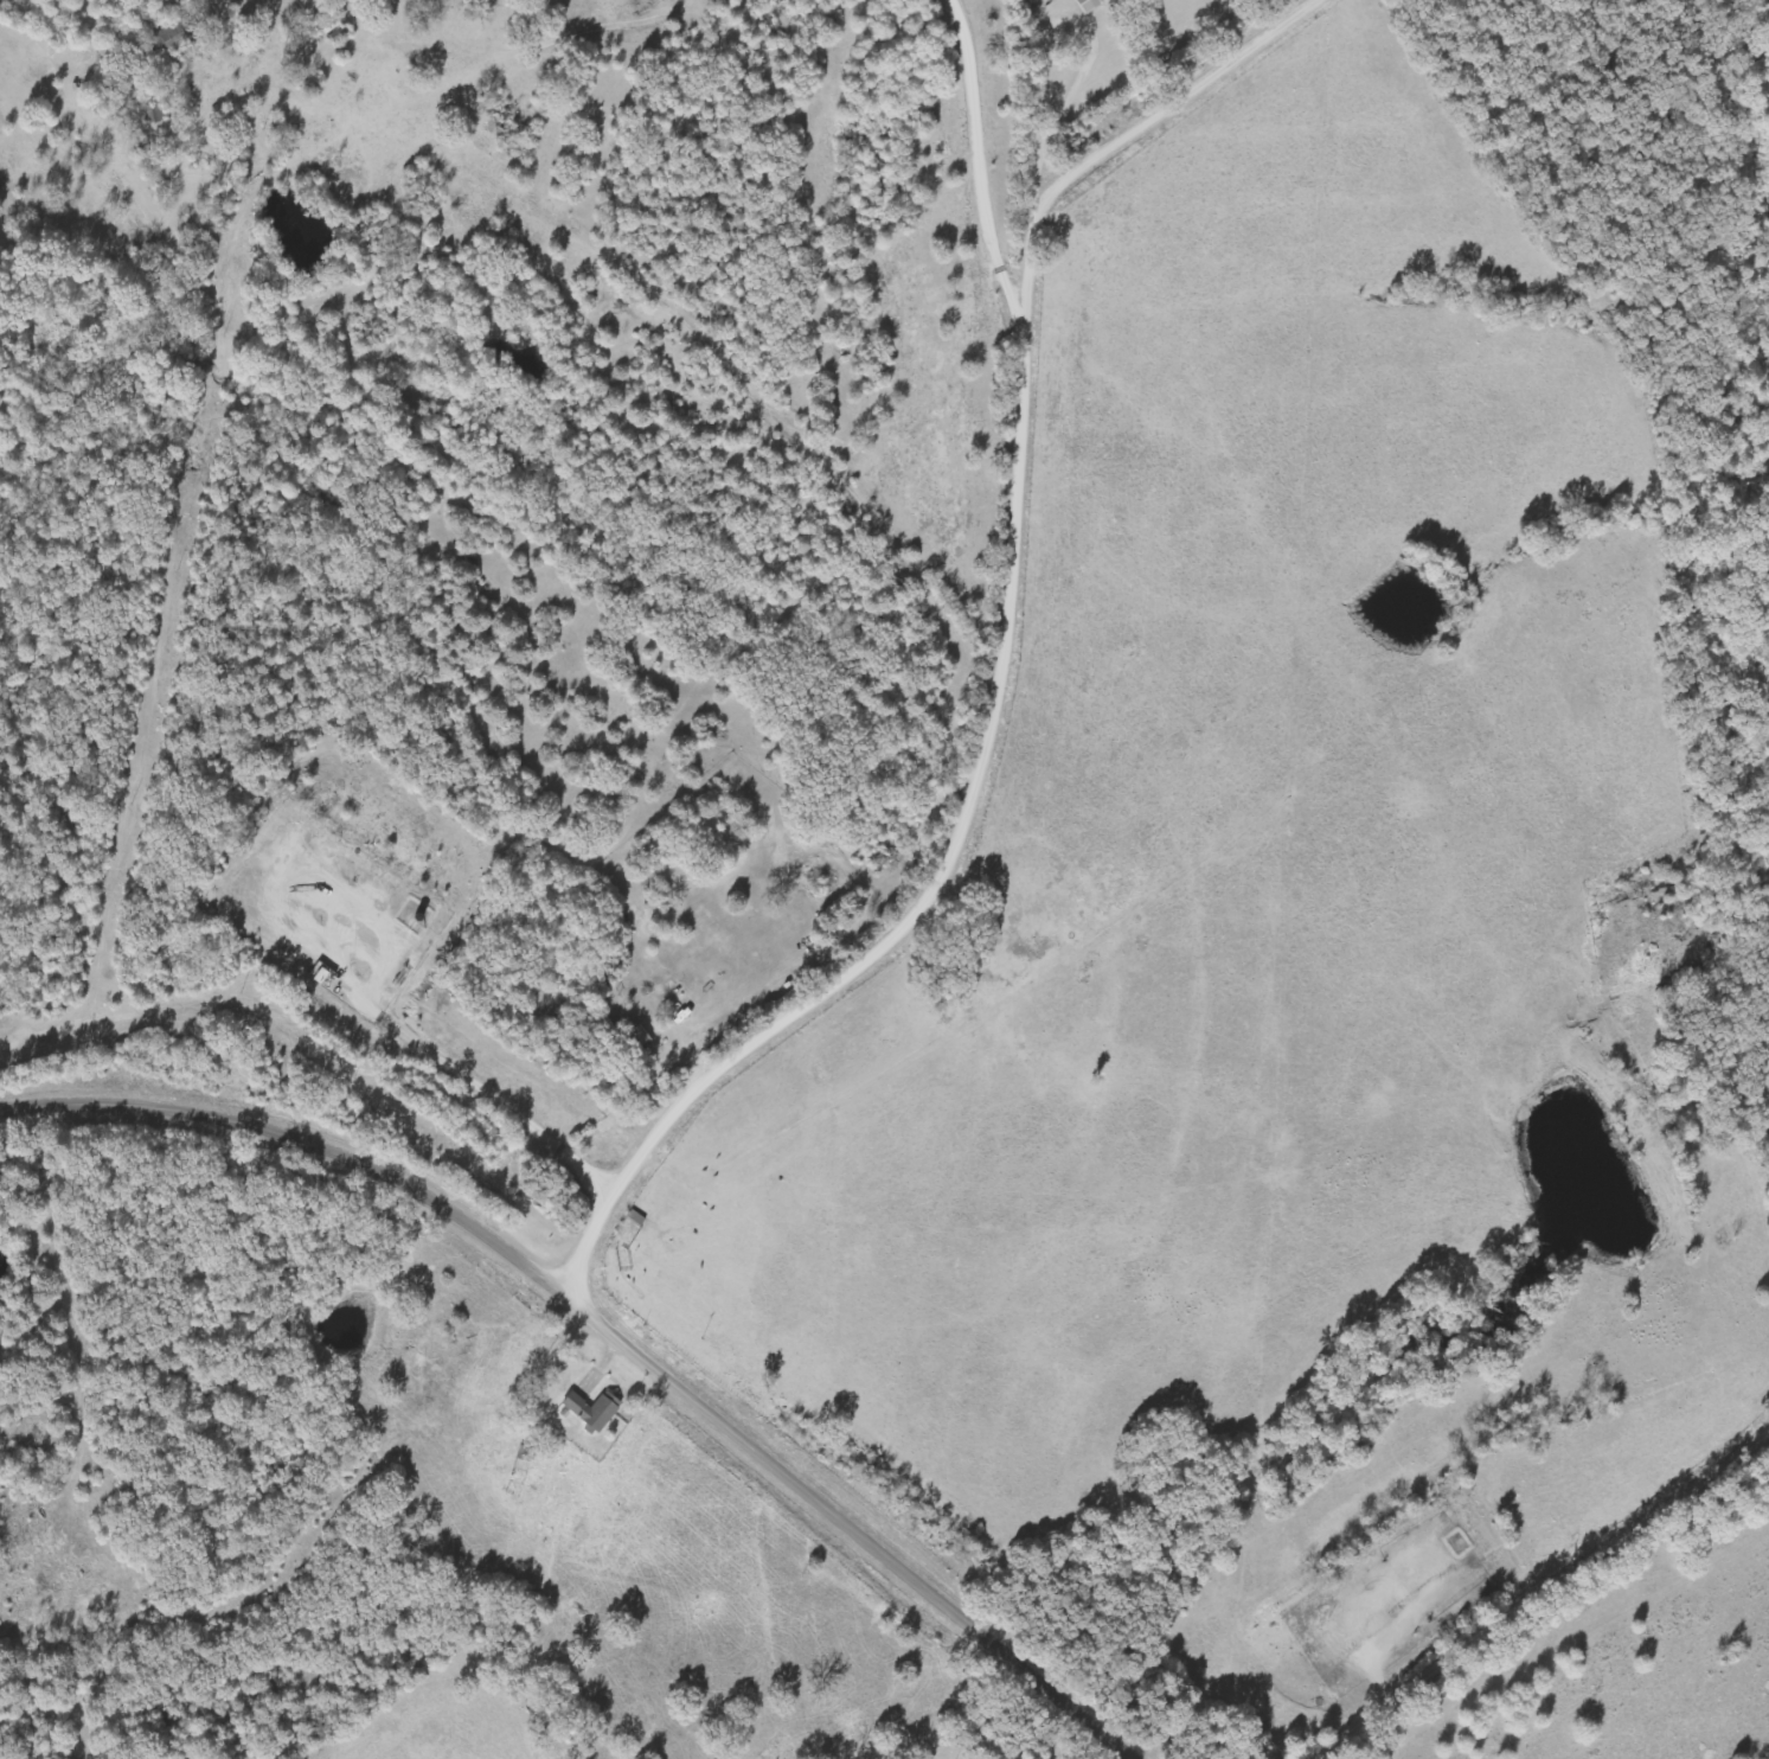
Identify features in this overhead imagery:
park: (1039, 2)
building: (1088, 5)
road: (994, 742)
road: (60, 1304)
road: (609, 1333)
building: (591, 1411)
road: (1572, 1603)

